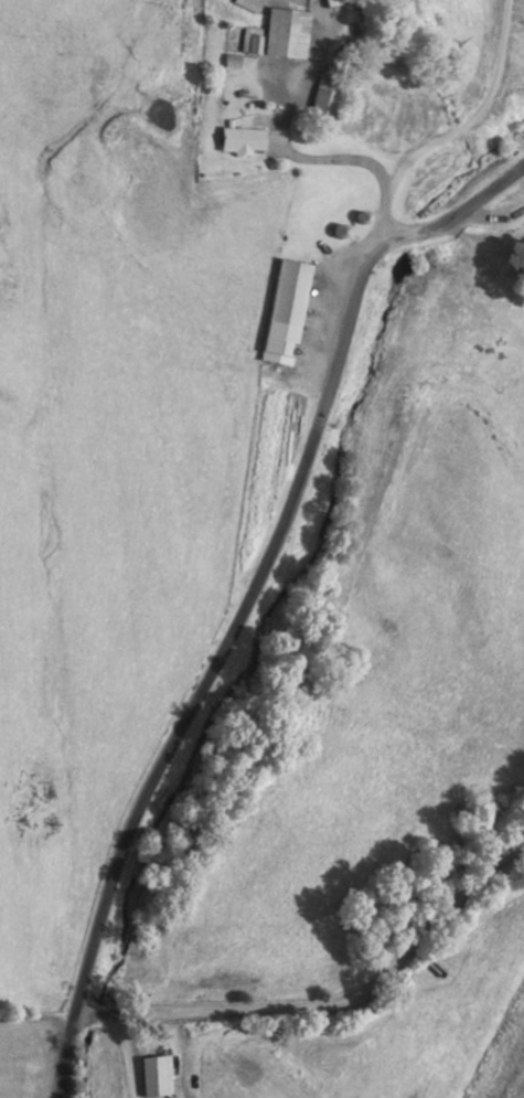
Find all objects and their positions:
building: (322, 0)
building: (253, 4)
building: (293, 33)
building: (256, 42)
building: (333, 97)
road: (448, 132)
building: (249, 140)
road: (288, 150)
building: (289, 307)
road: (247, 595)
road: (313, 993)
road: (122, 1055)
building: (157, 1075)

